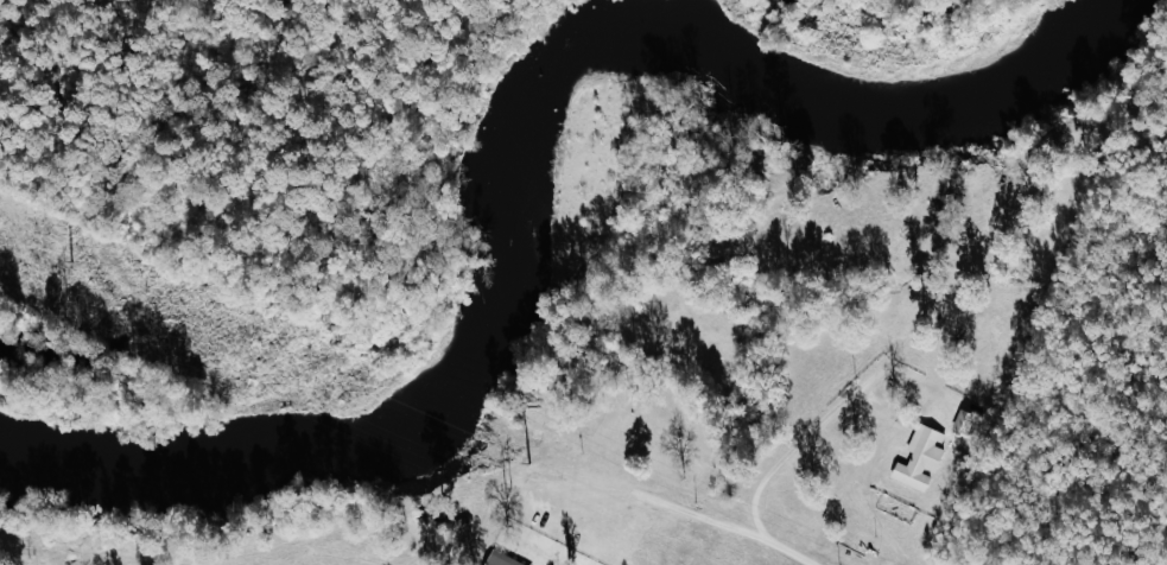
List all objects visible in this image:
river: (576, 153)
power tower: (64, 297)
road: (798, 450)
building: (924, 457)
power tower: (508, 493)
road: (713, 516)
building: (507, 559)

